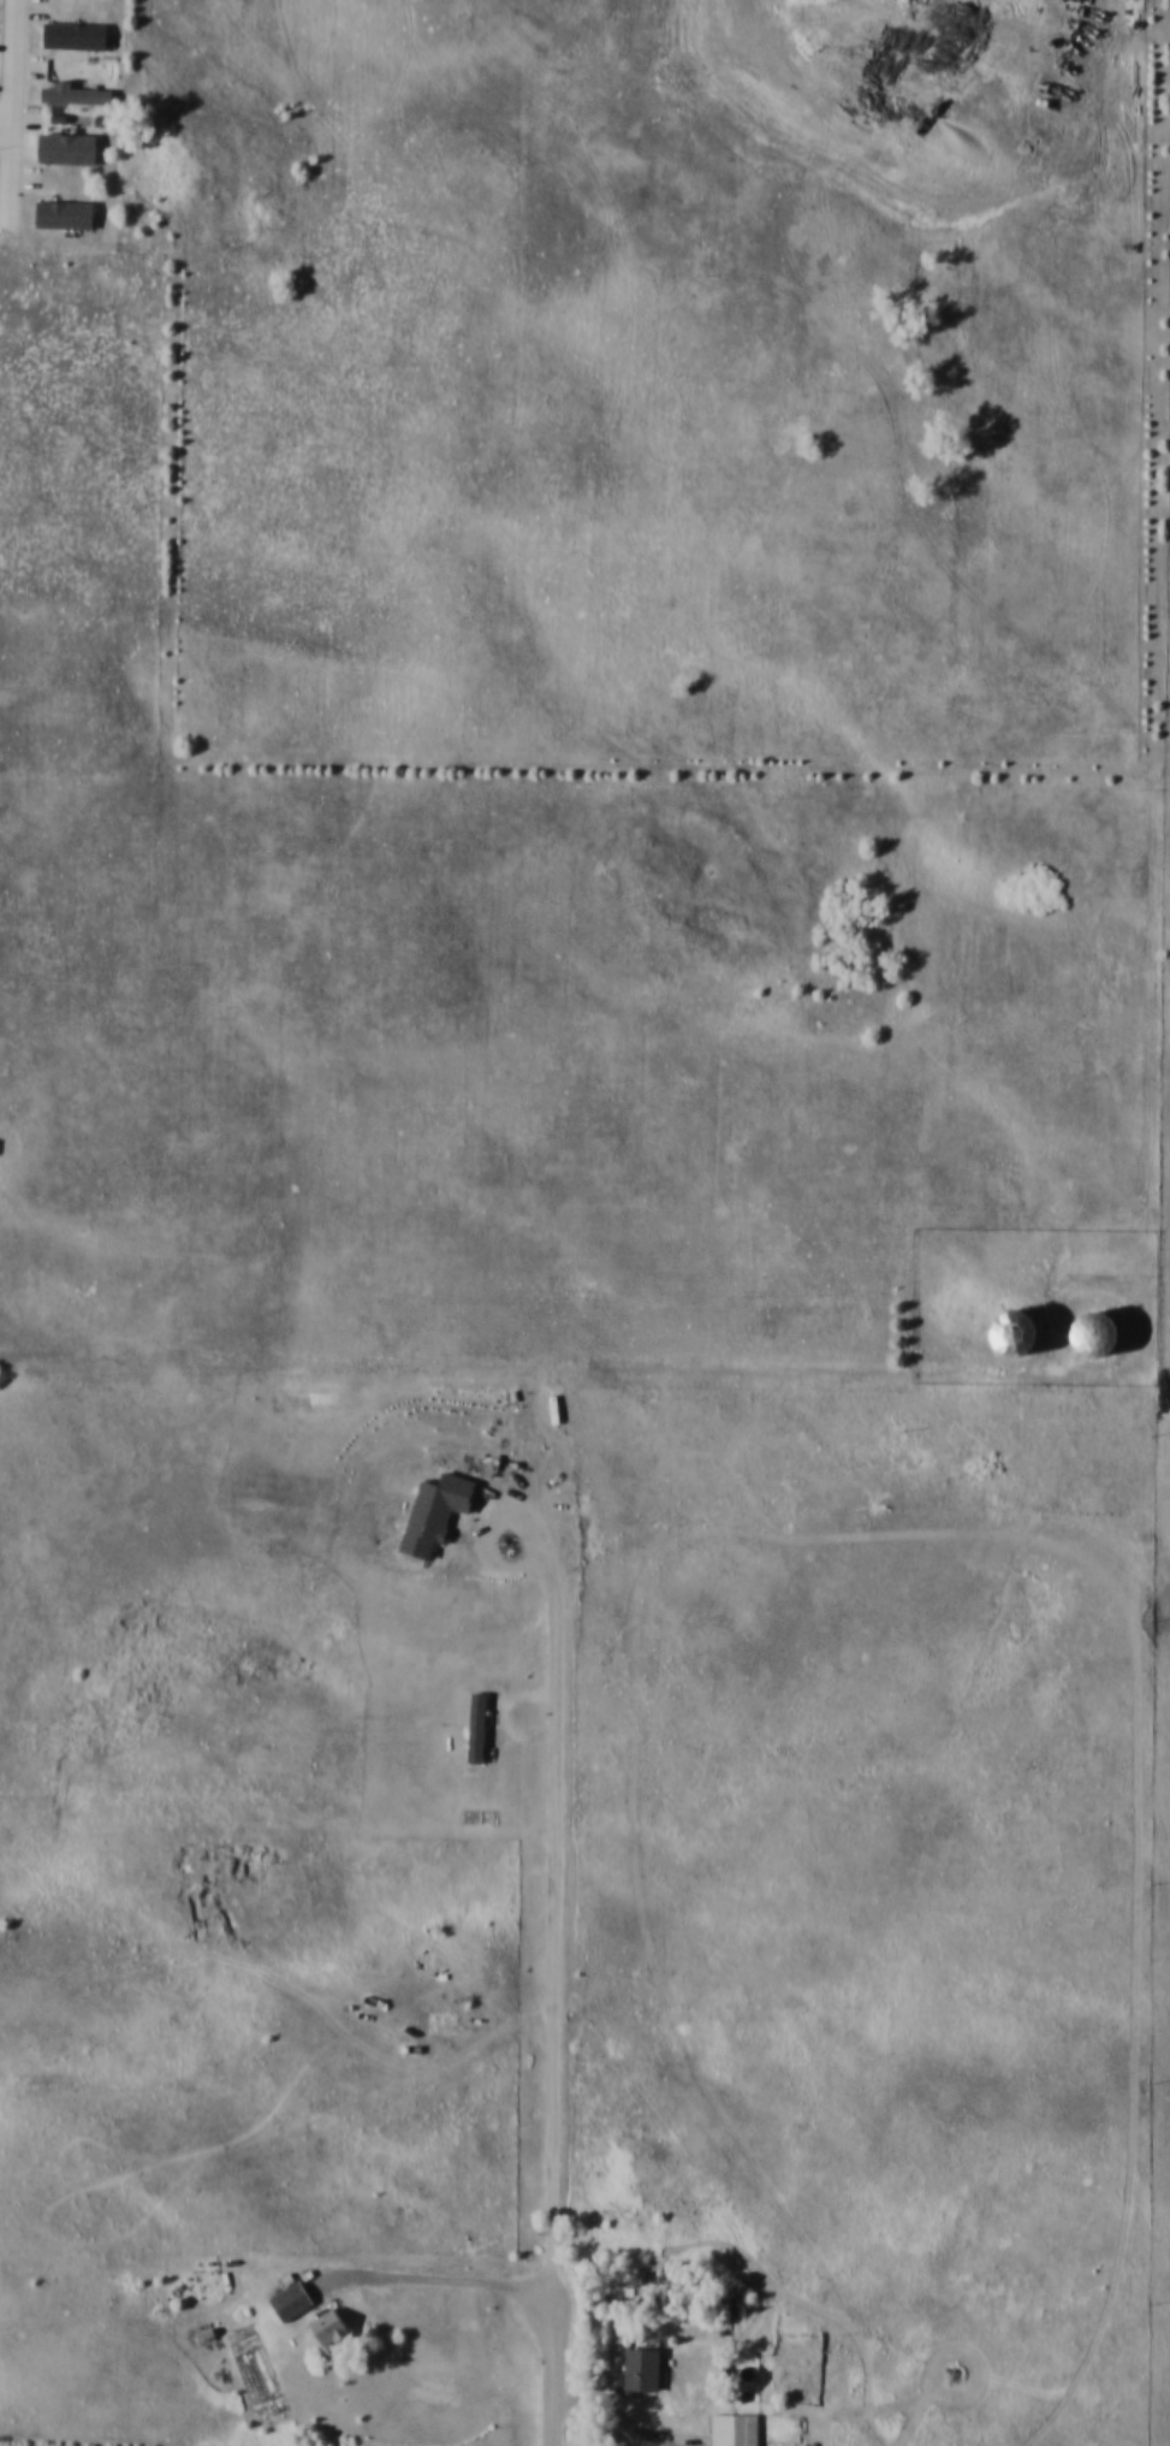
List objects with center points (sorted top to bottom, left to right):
road: (0, 24)
road: (849, 78)
building: (1008, 1331)
building: (1085, 1333)
building: (474, 1725)
road: (446, 2275)
building: (287, 2300)
building: (325, 2326)
road: (556, 2363)
building: (637, 2369)
road: (628, 2412)
building: (731, 2429)

